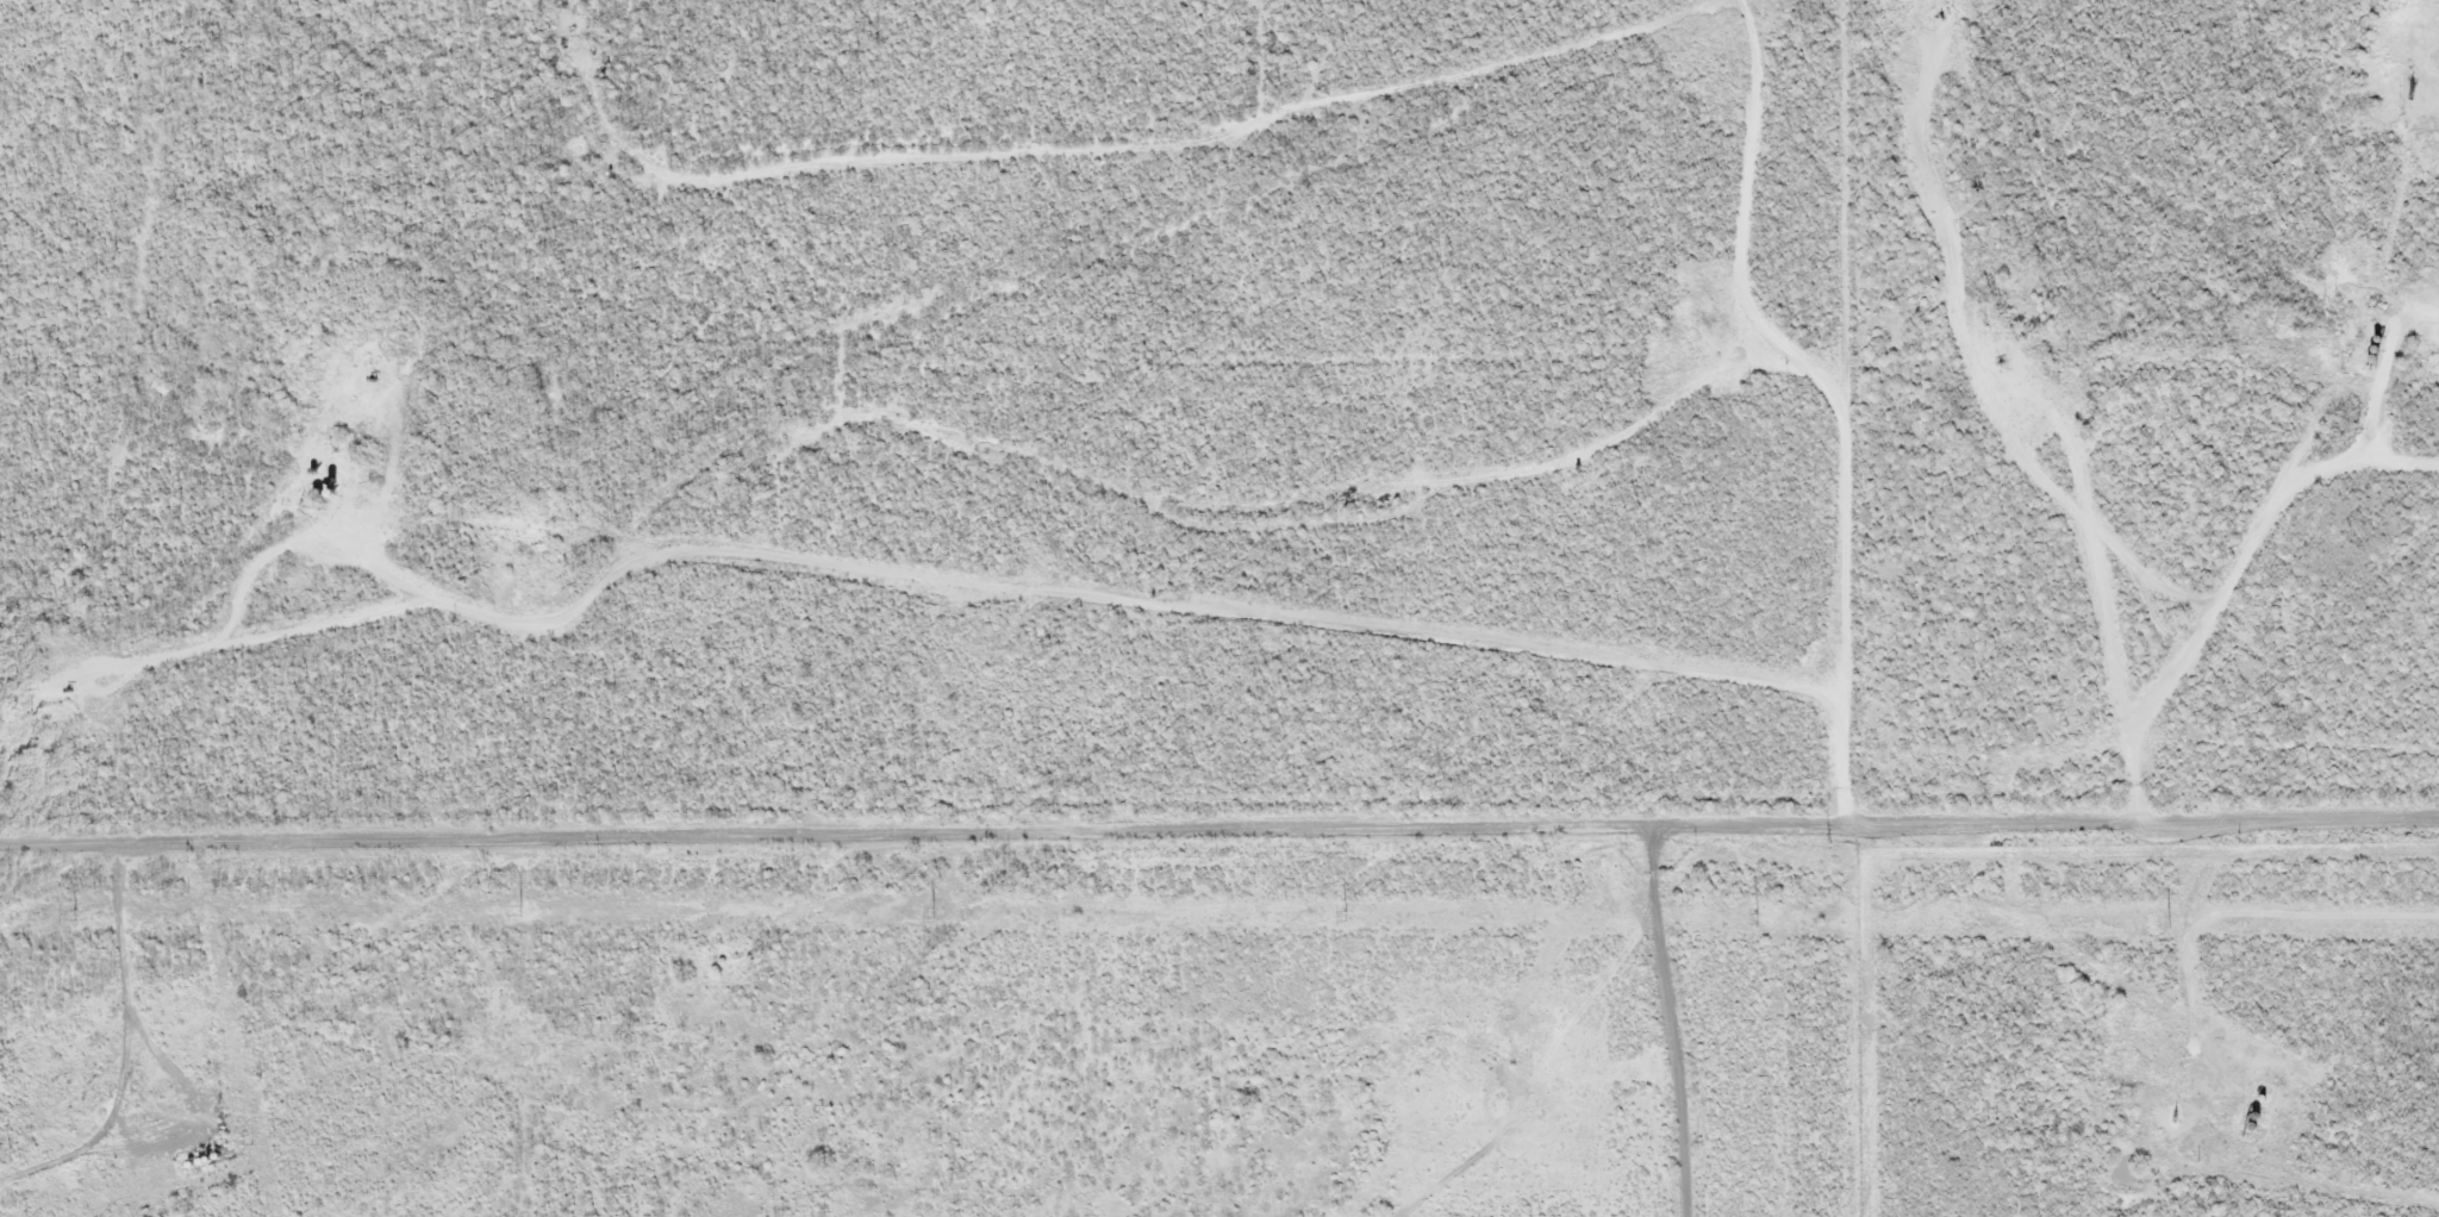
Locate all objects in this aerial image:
road: (1218, 829)
power tower: (519, 907)
power tower: (932, 912)
power tower: (73, 913)
power tower: (1345, 916)
power tower: (1757, 917)
power tower: (2169, 920)
road: (1666, 1021)

